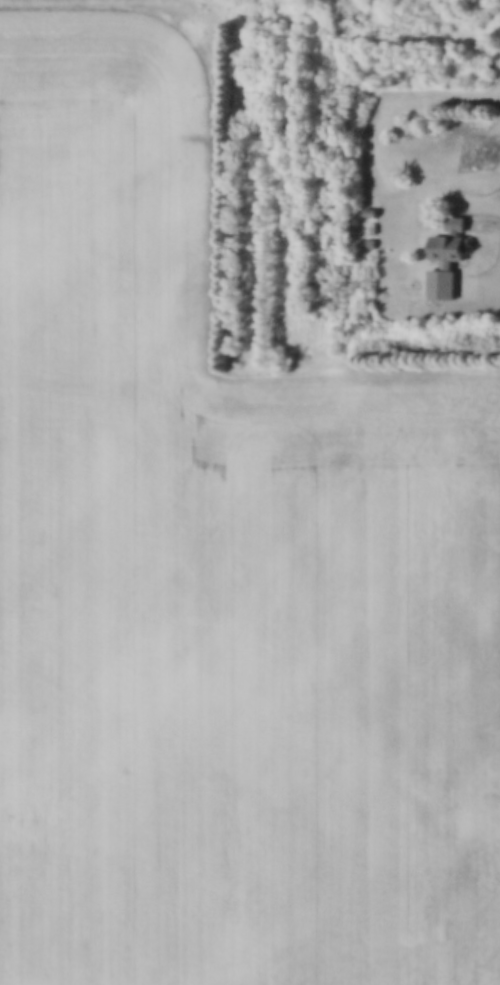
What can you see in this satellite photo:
building: (364, 206)
building: (367, 220)
building: (364, 236)
building: (441, 252)

